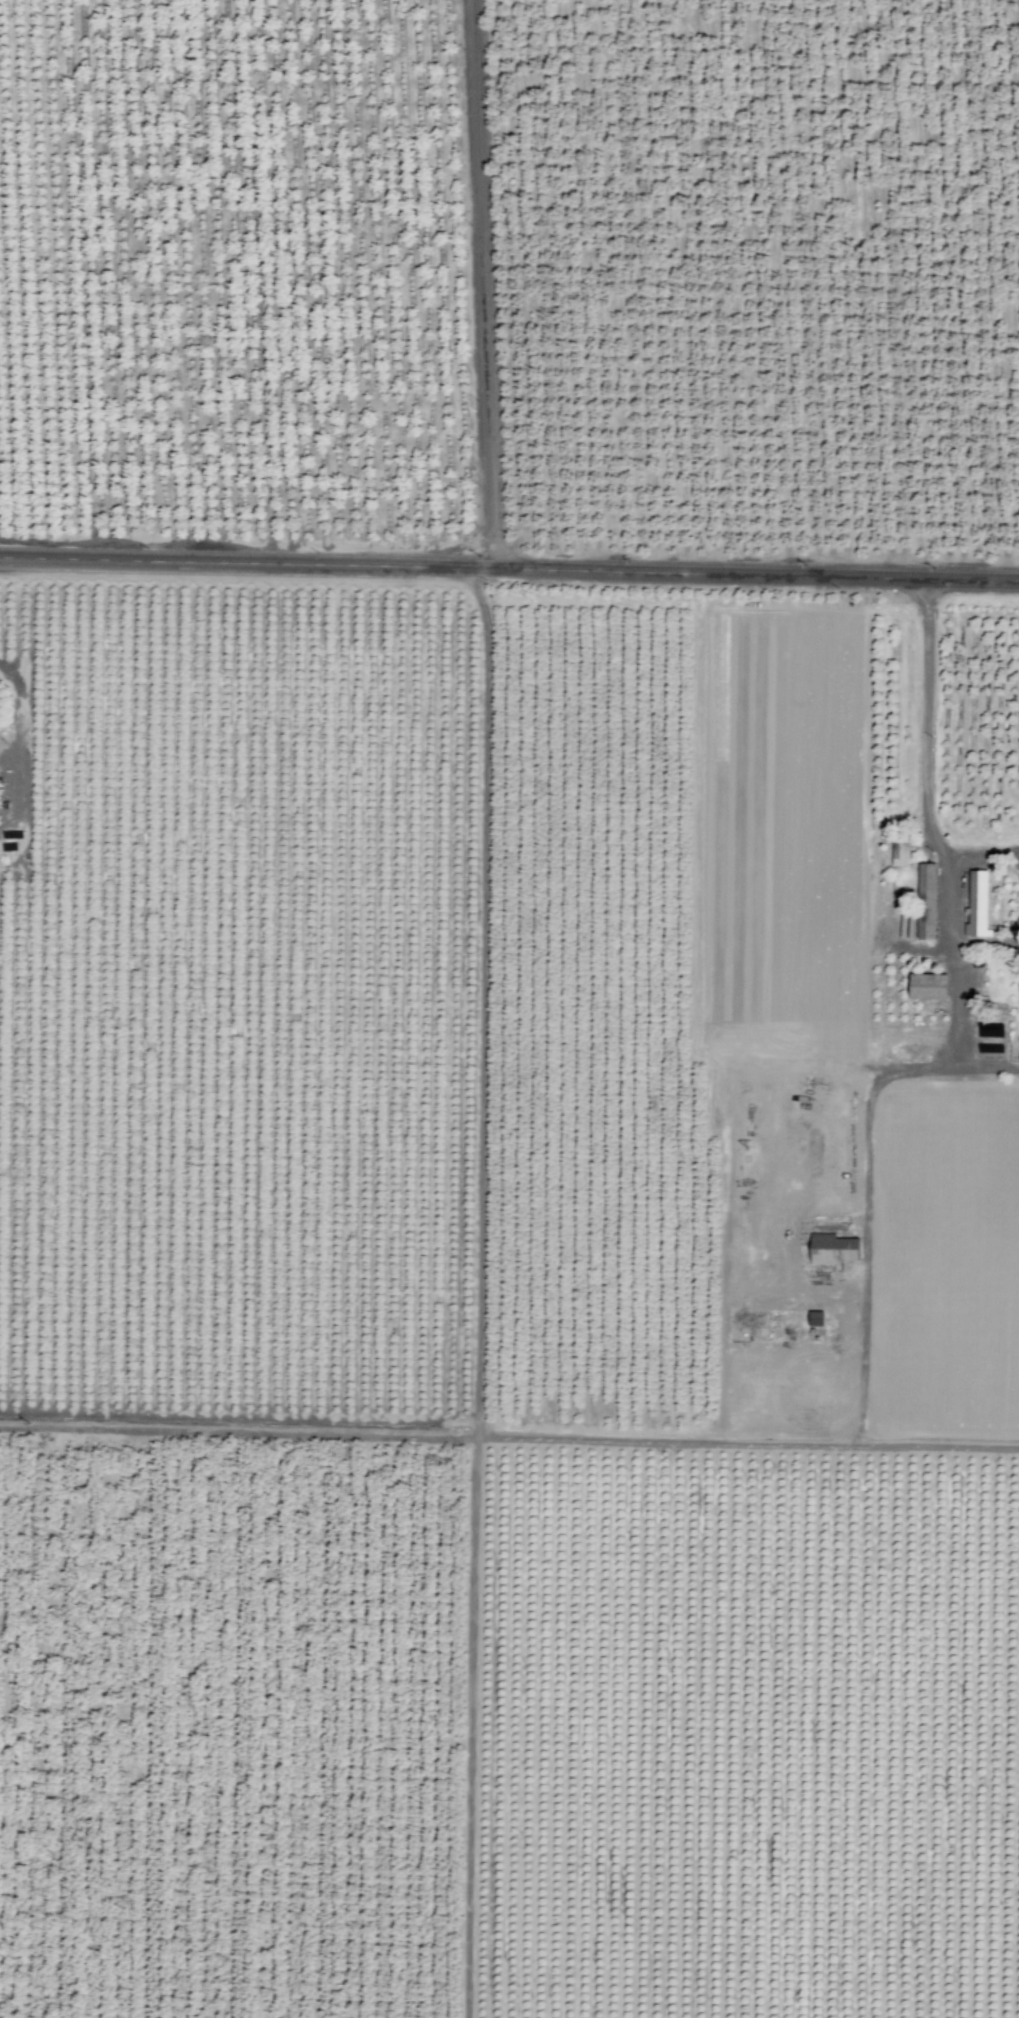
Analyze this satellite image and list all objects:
road: (485, 284)
road: (509, 568)
building: (2, 744)
road: (923, 754)
building: (928, 904)
building: (977, 904)
building: (930, 986)
building: (833, 1248)

